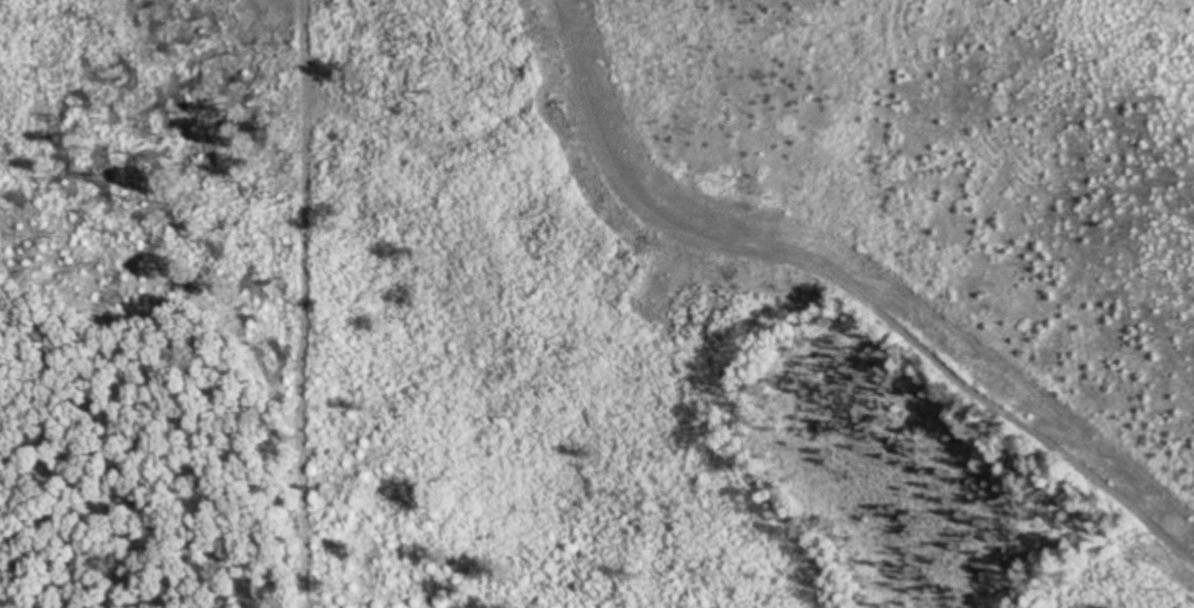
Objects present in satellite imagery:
road: (855, 279)
road: (279, 304)

